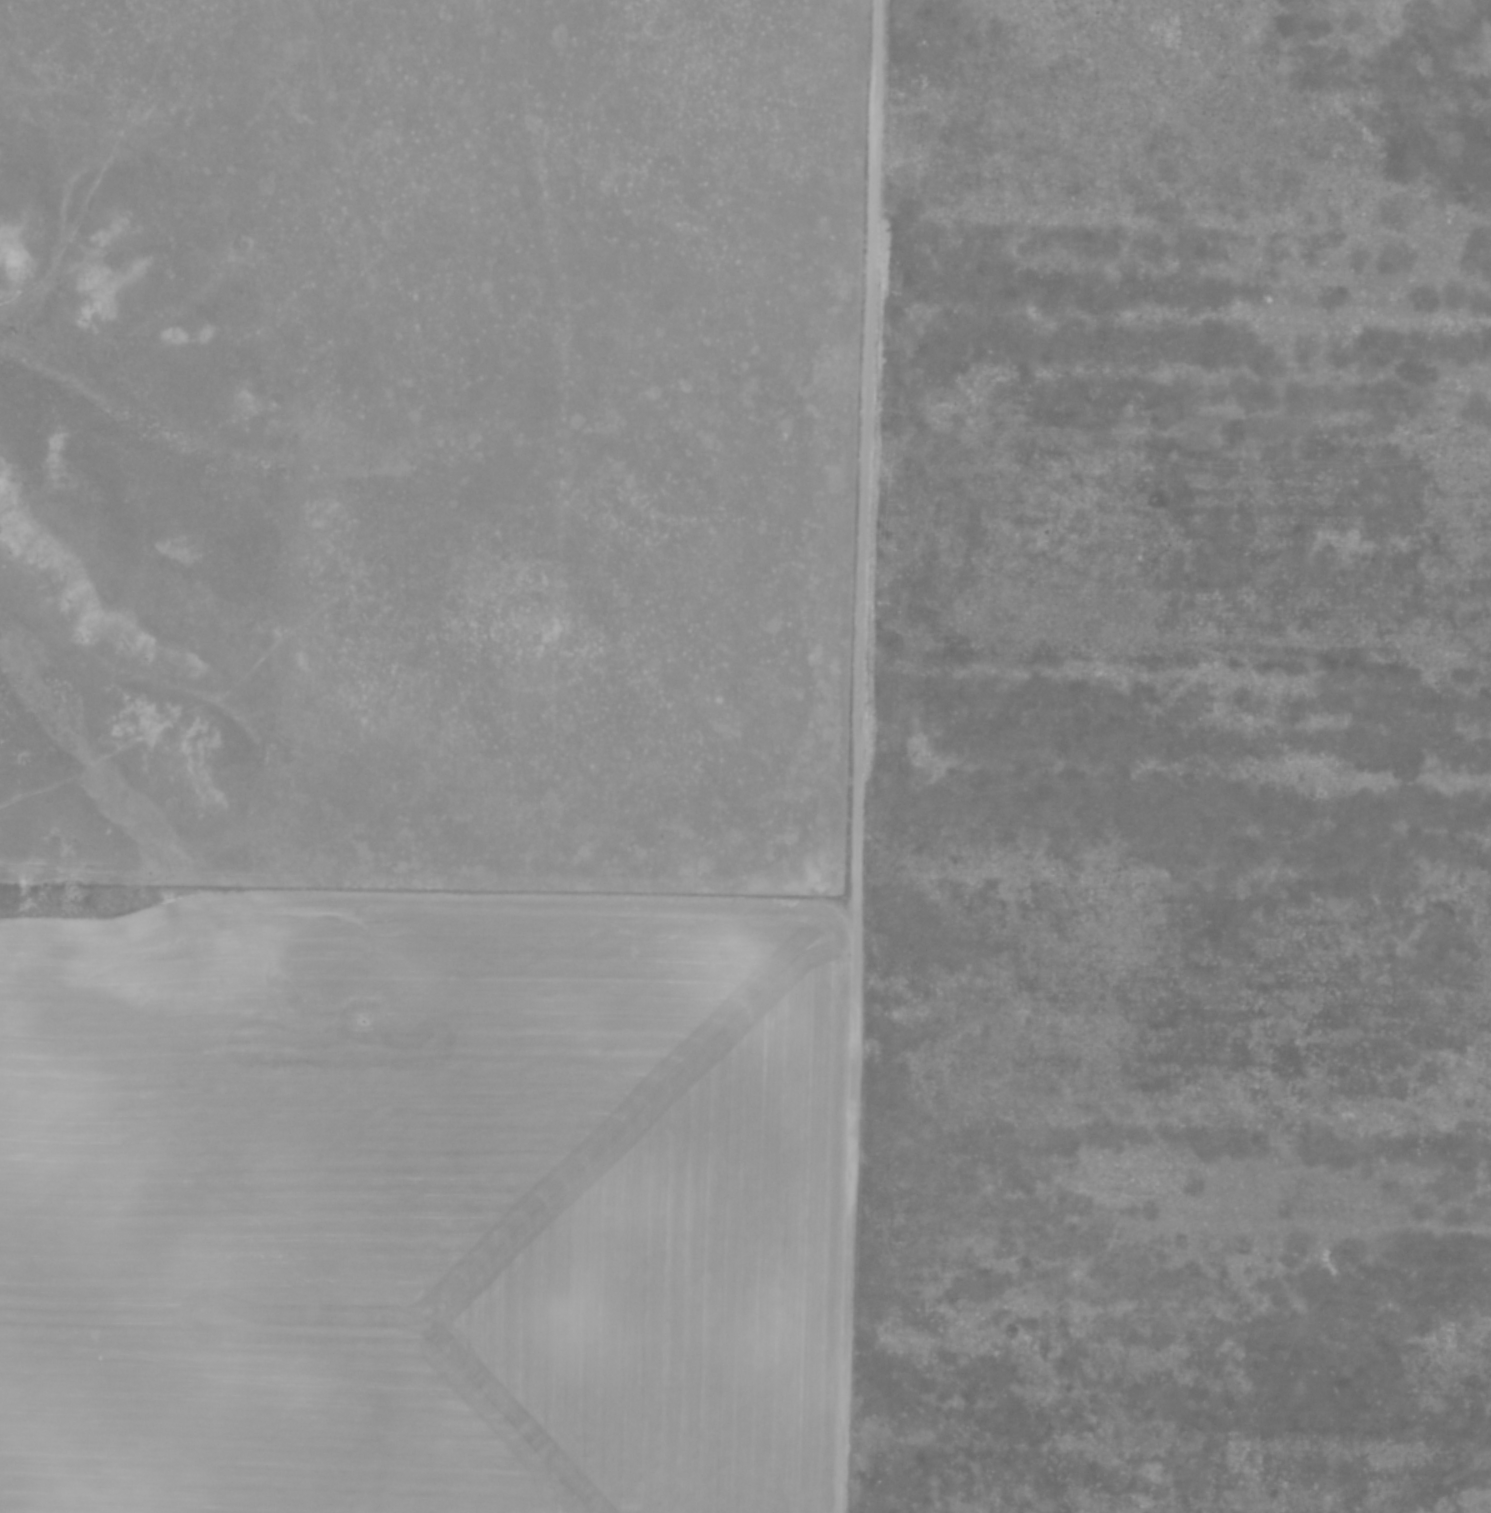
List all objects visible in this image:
road: (863, 756)
crop: (420, 1202)

